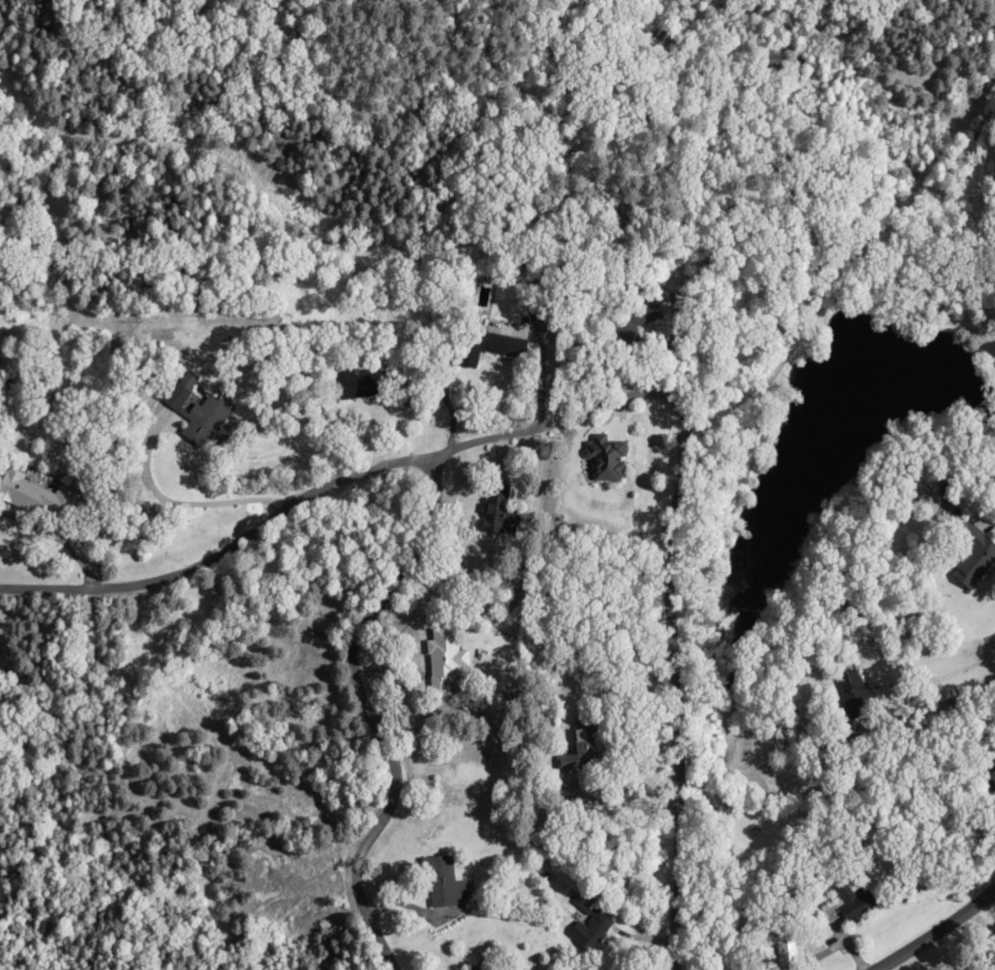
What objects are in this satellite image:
building: (488, 345)
building: (360, 384)
road: (593, 420)
building: (602, 457)
building: (18, 491)
building: (493, 506)
building: (970, 553)
building: (442, 659)
building: (851, 690)
road: (378, 714)
building: (580, 744)
building: (442, 879)
building: (851, 902)
road: (935, 929)
building: (588, 931)
building: (478, 966)

